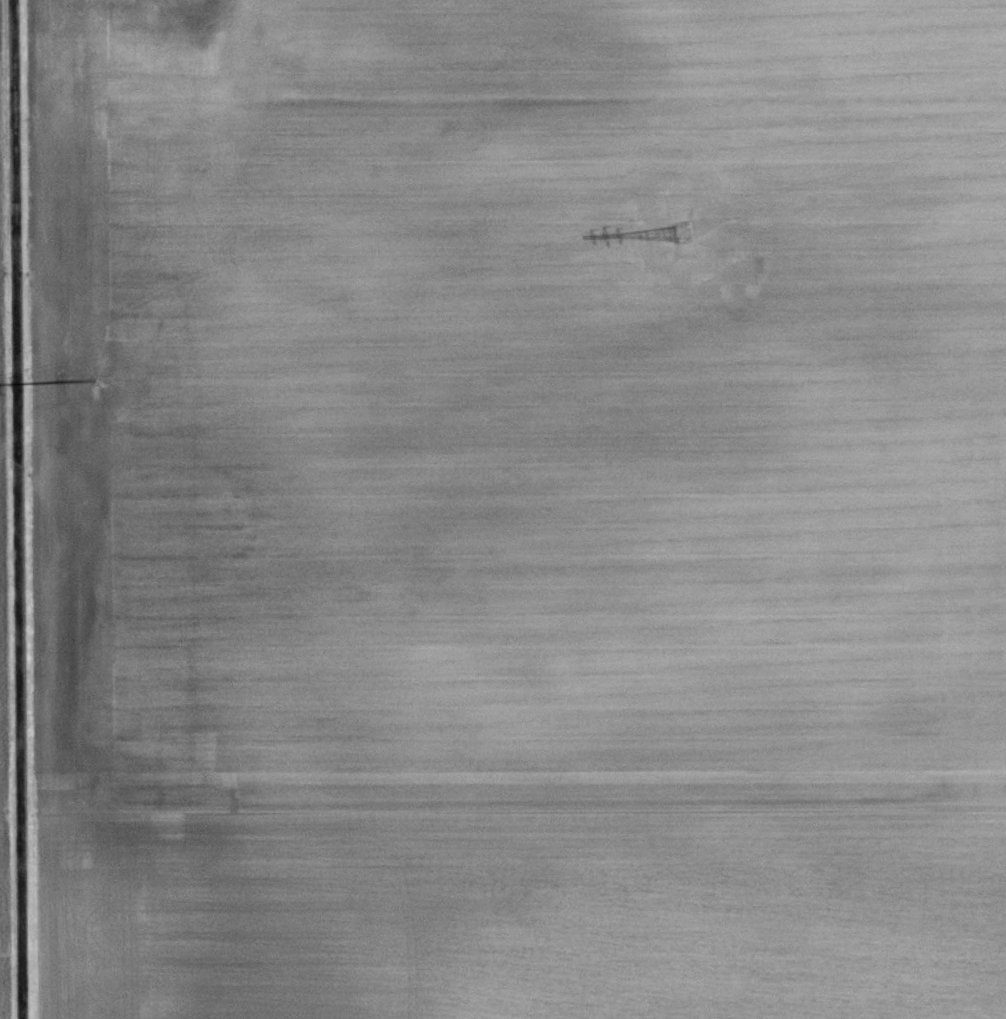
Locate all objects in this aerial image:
building: (142, 11)
power tower: (680, 232)
power tower: (67, 385)
road: (24, 509)

